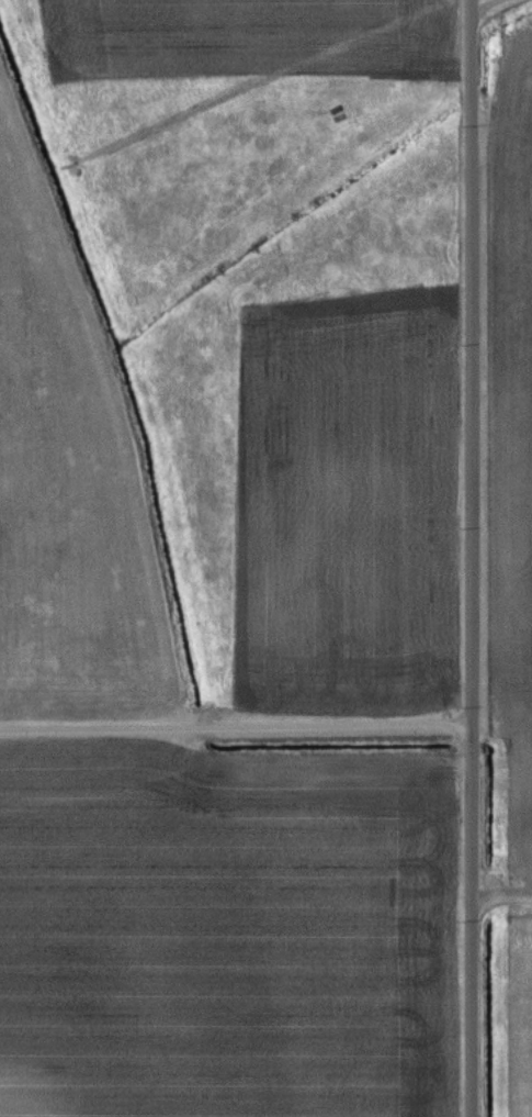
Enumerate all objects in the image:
road: (475, 558)
road: (237, 725)

